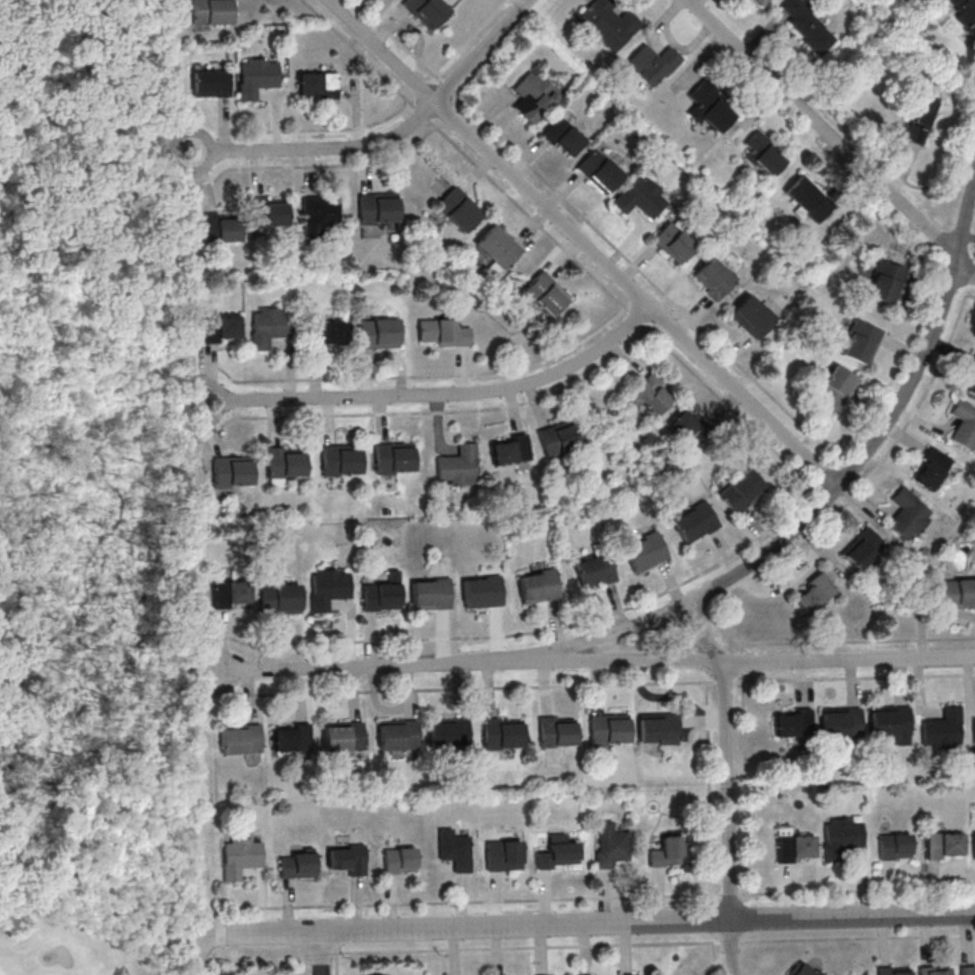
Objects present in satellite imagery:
building: (761, 2)
building: (211, 12)
building: (426, 12)
building: (965, 13)
building: (608, 24)
building: (806, 24)
building: (652, 64)
building: (257, 76)
building: (210, 83)
building: (317, 85)
building: (534, 96)
building: (709, 108)
building: (920, 119)
road: (832, 136)
building: (562, 137)
road: (389, 139)
building: (762, 154)
building: (599, 173)
building: (640, 198)
building: (807, 199)
building: (378, 208)
building: (458, 210)
building: (269, 212)
building: (318, 214)
building: (221, 229)
road: (582, 243)
building: (673, 244)
road: (943, 246)
building: (498, 247)
building: (714, 280)
building: (885, 282)
building: (545, 294)
building: (752, 318)
building: (268, 327)
building: (219, 329)
building: (442, 333)
building: (377, 334)
building: (324, 335)
building: (860, 342)
building: (970, 380)
building: (834, 387)
road: (437, 393)
building: (649, 395)
building: (963, 425)
building: (685, 427)
building: (559, 438)
road: (41, 439)
road: (94, 449)
building: (508, 449)
building: (392, 458)
building: (340, 460)
building: (283, 464)
building: (456, 467)
building: (930, 469)
building: (231, 472)
park: (87, 482)
building: (740, 490)
building: (908, 514)
building: (694, 523)
building: (644, 552)
building: (859, 553)
road: (776, 564)
building: (594, 571)
building: (538, 585)
building: (327, 588)
road: (666, 590)
building: (481, 591)
building: (957, 593)
building: (230, 594)
building: (430, 595)
road: (699, 595)
building: (814, 595)
building: (278, 598)
building: (379, 598)
road: (714, 628)
road: (849, 660)
road: (616, 662)
road: (853, 677)
road: (724, 681)
road: (482, 687)
building: (792, 723)
building: (840, 723)
building: (890, 723)
building: (941, 727)
building: (658, 730)
building: (973, 730)
building: (608, 731)
building: (556, 733)
building: (502, 734)
building: (446, 735)
building: (396, 736)
building: (341, 738)
building: (290, 739)
building: (238, 740)
road: (745, 767)
road: (709, 787)
road: (727, 791)
building: (841, 837)
building: (973, 844)
building: (609, 845)
building: (943, 845)
building: (793, 846)
building: (894, 846)
building: (453, 849)
building: (557, 852)
building: (667, 852)
building: (502, 855)
building: (239, 856)
building: (347, 859)
building: (398, 860)
building: (295, 865)
road: (856, 890)
road: (730, 893)
road: (486, 900)
road: (853, 916)
road: (464, 928)
road: (858, 937)
road: (731, 941)
road: (527, 947)
road: (731, 947)
park: (62, 948)
road: (319, 953)
road: (320, 953)
road: (714, 958)
road: (305, 964)
road: (336, 964)
building: (806, 969)
building: (967, 969)
building: (890, 970)
building: (931, 970)
building: (633, 974)

